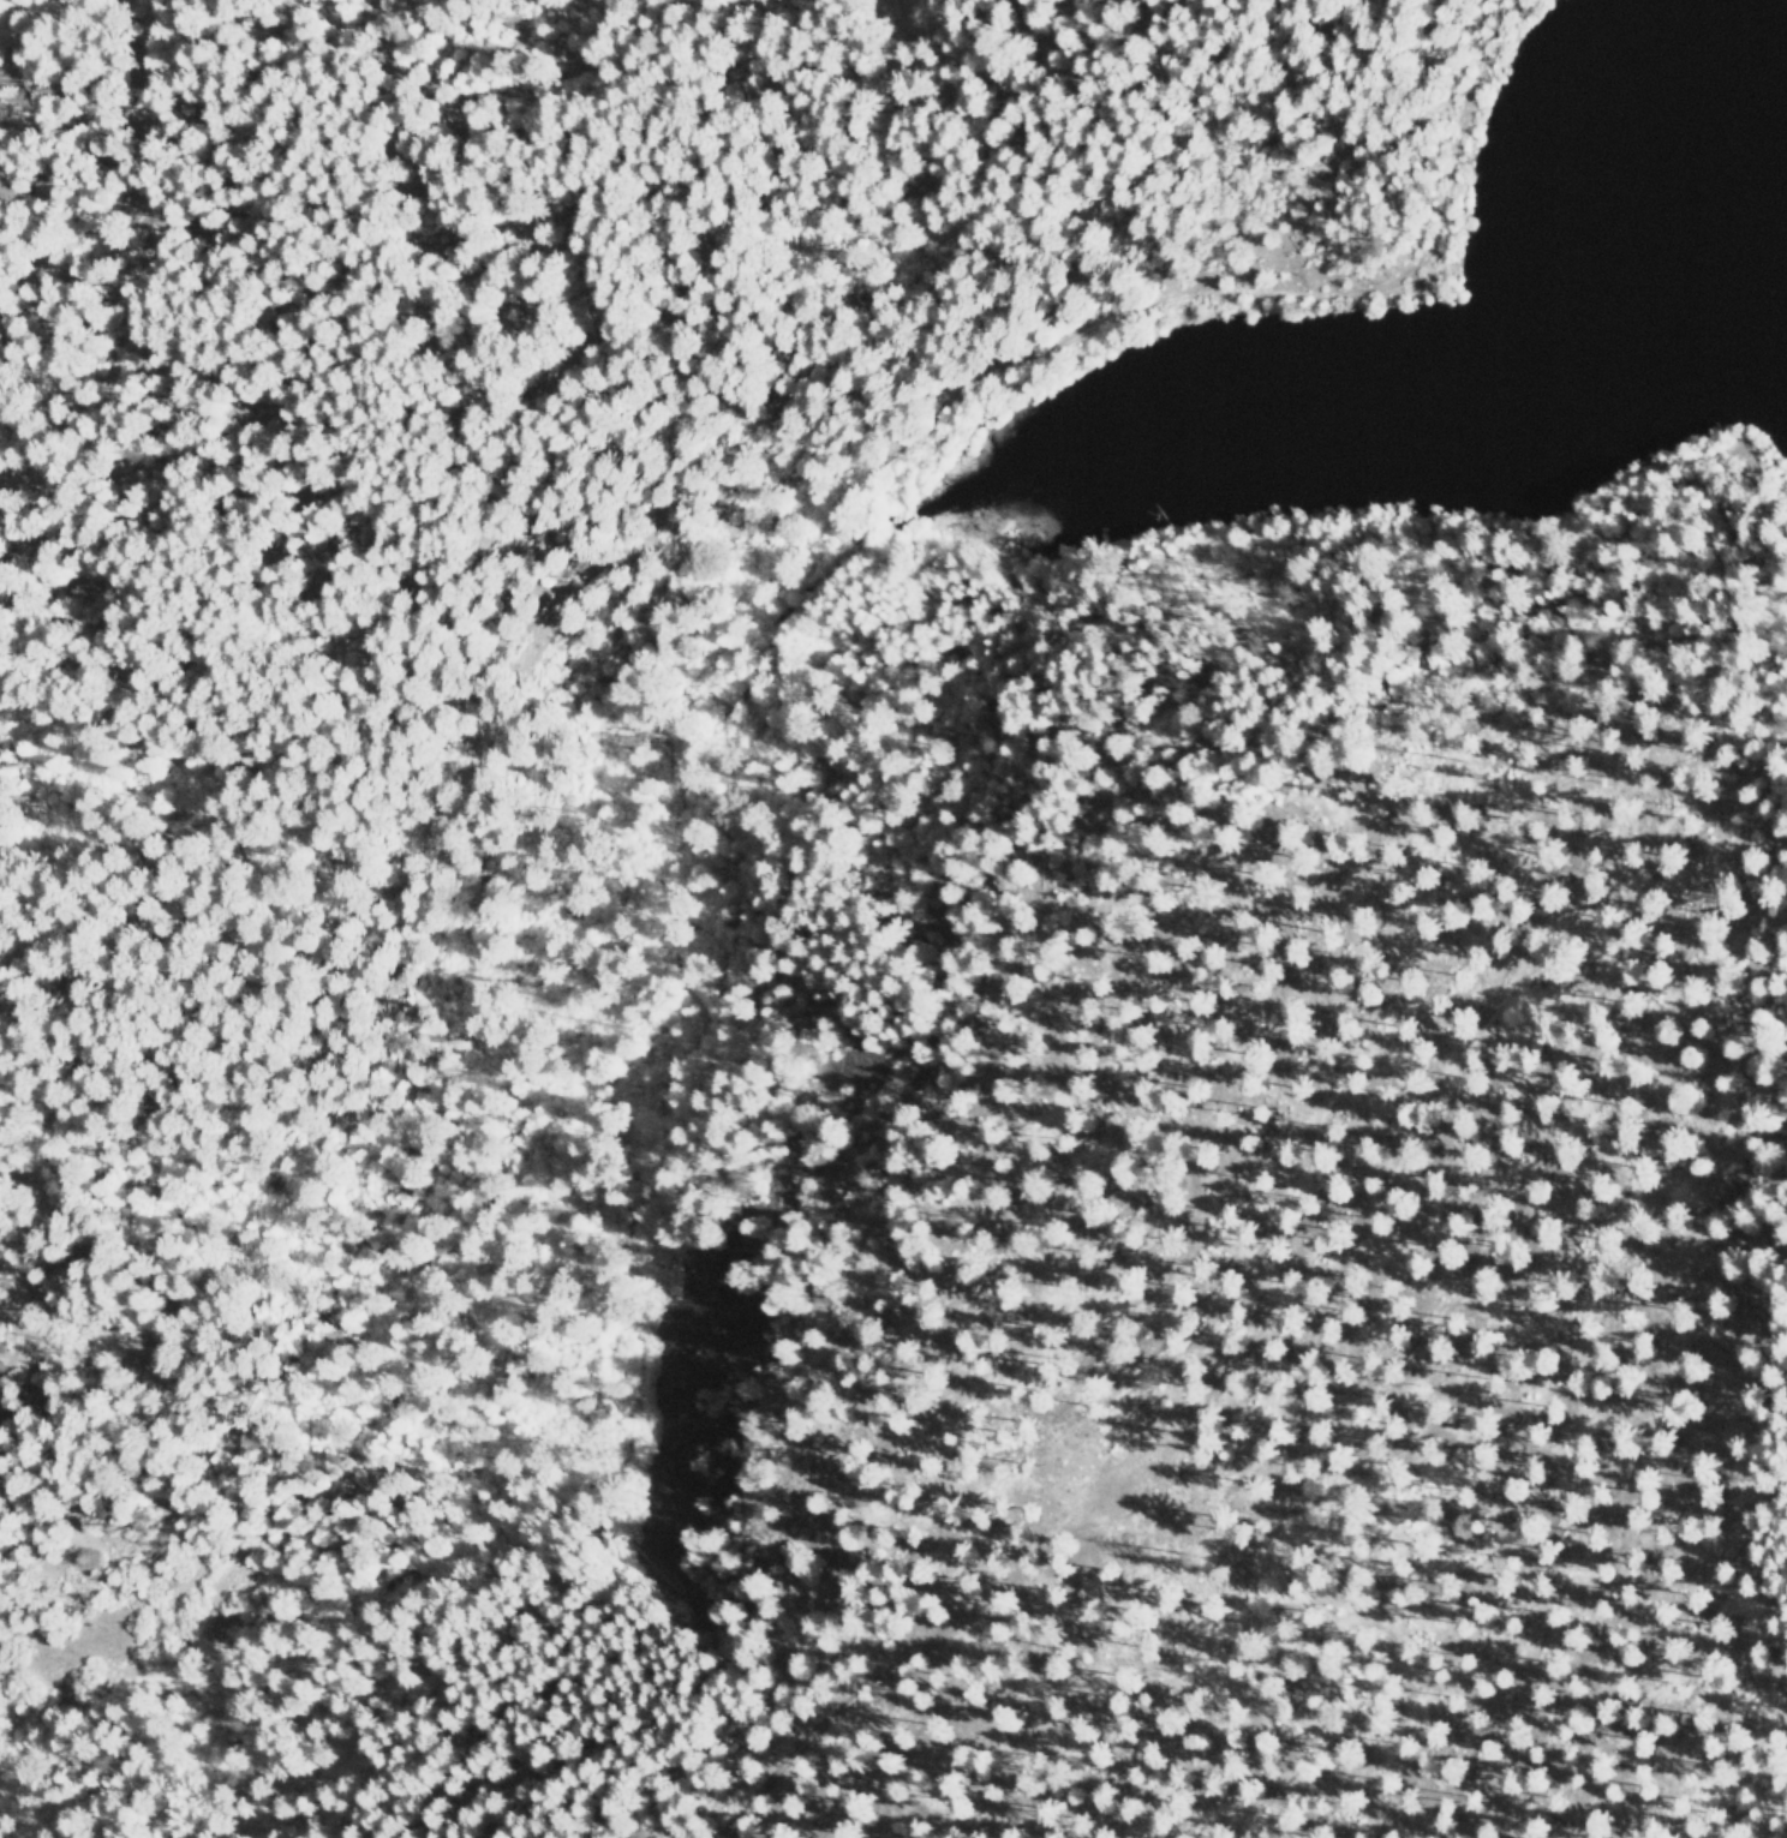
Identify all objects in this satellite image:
road: (903, 1668)

